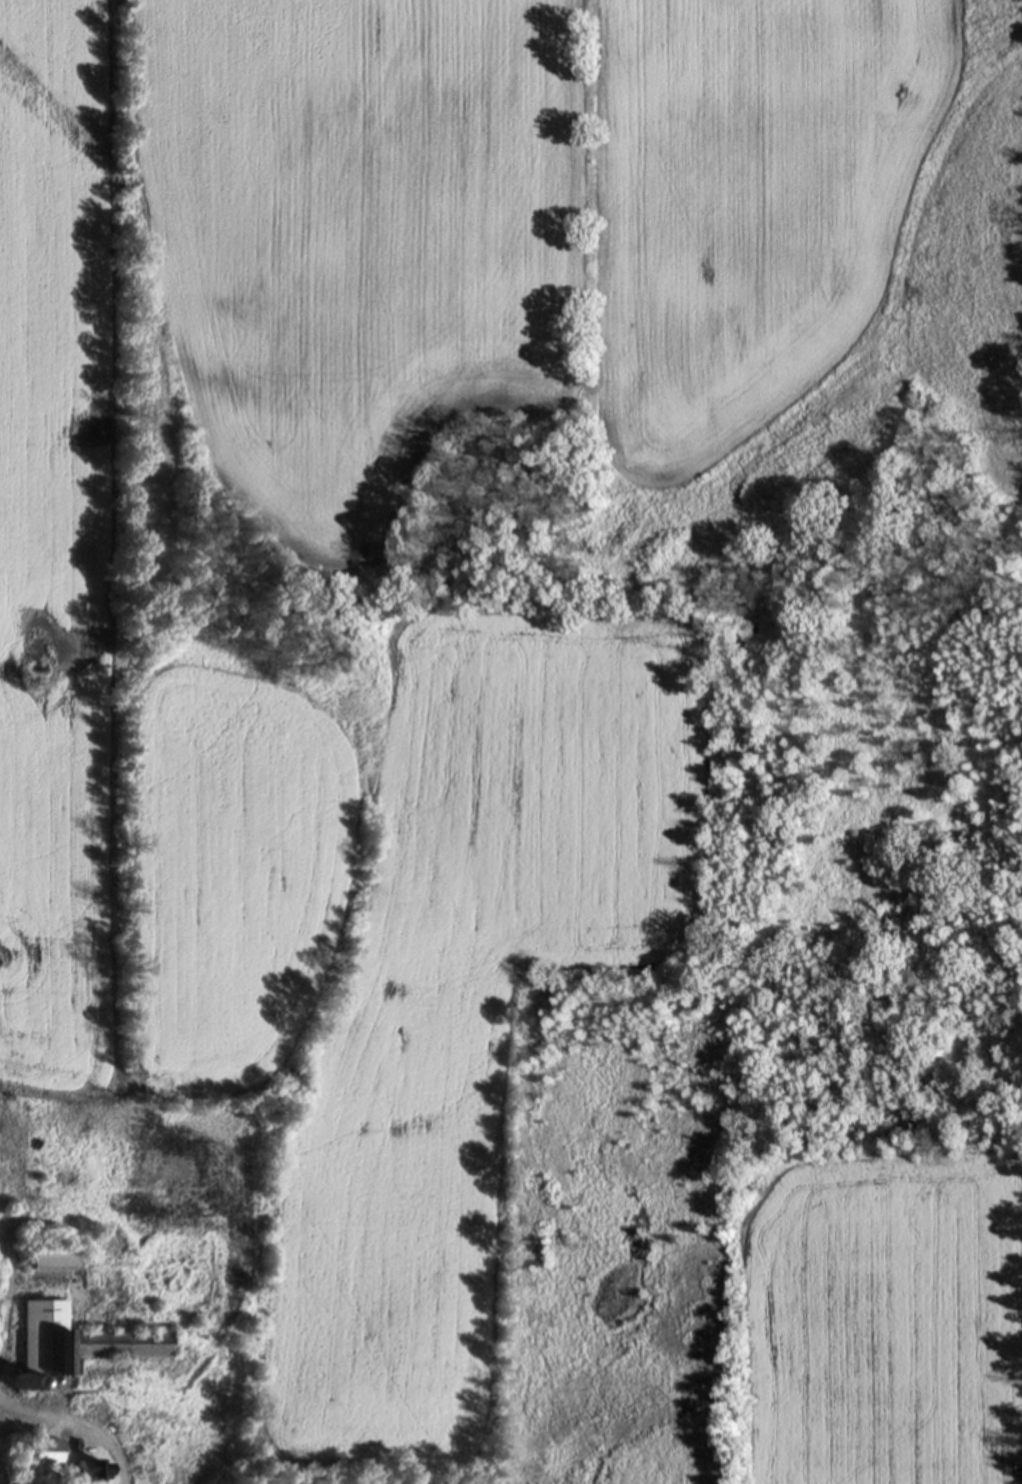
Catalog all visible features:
building: (50, 1260)
road: (3, 1329)
building: (79, 1343)
road: (75, 1428)
building: (48, 1453)
building: (94, 1472)

